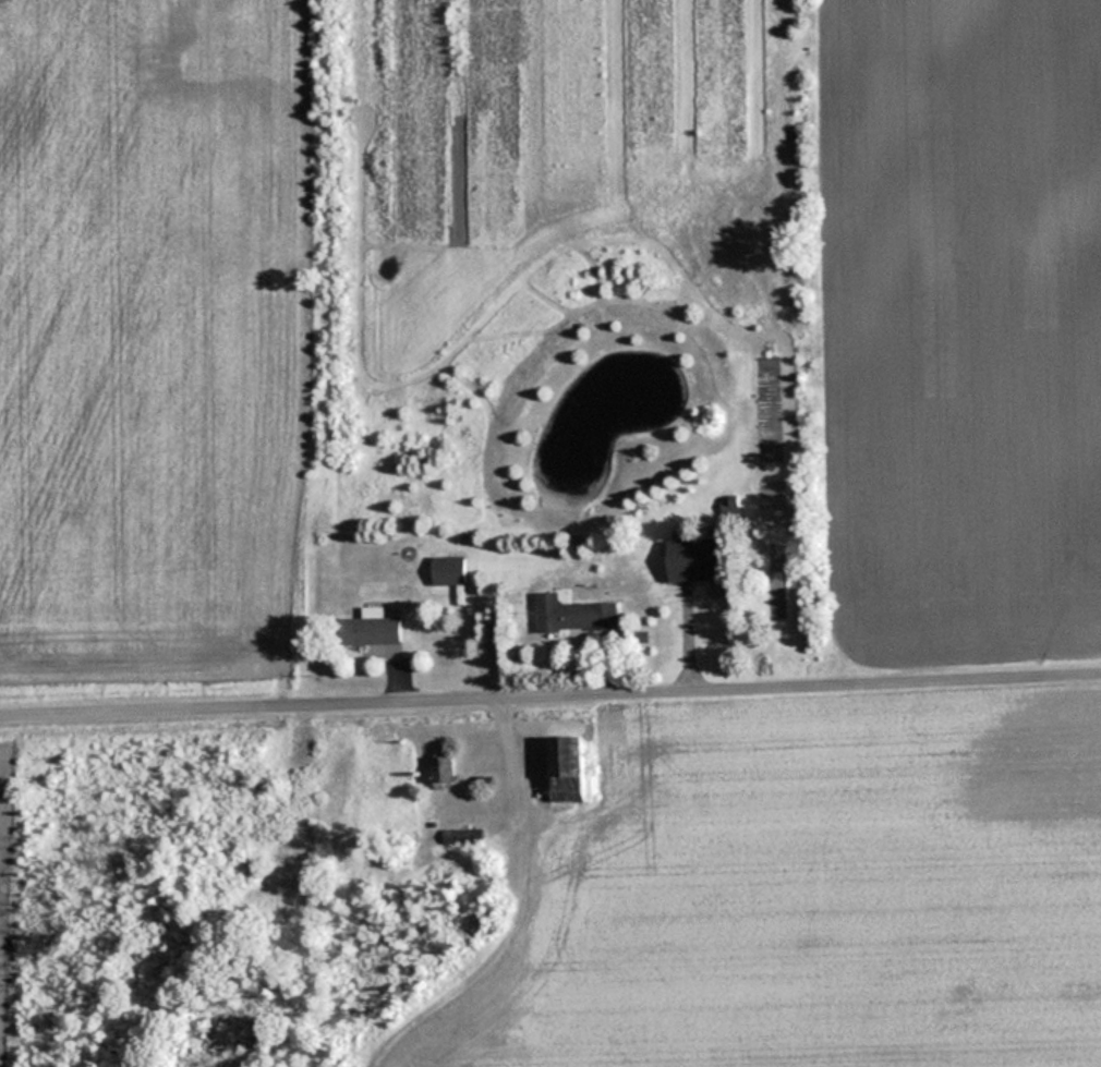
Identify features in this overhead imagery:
building: (697, 559)
building: (450, 569)
building: (577, 614)
building: (373, 627)
road: (550, 684)
building: (568, 767)
building: (445, 769)
building: (463, 835)

